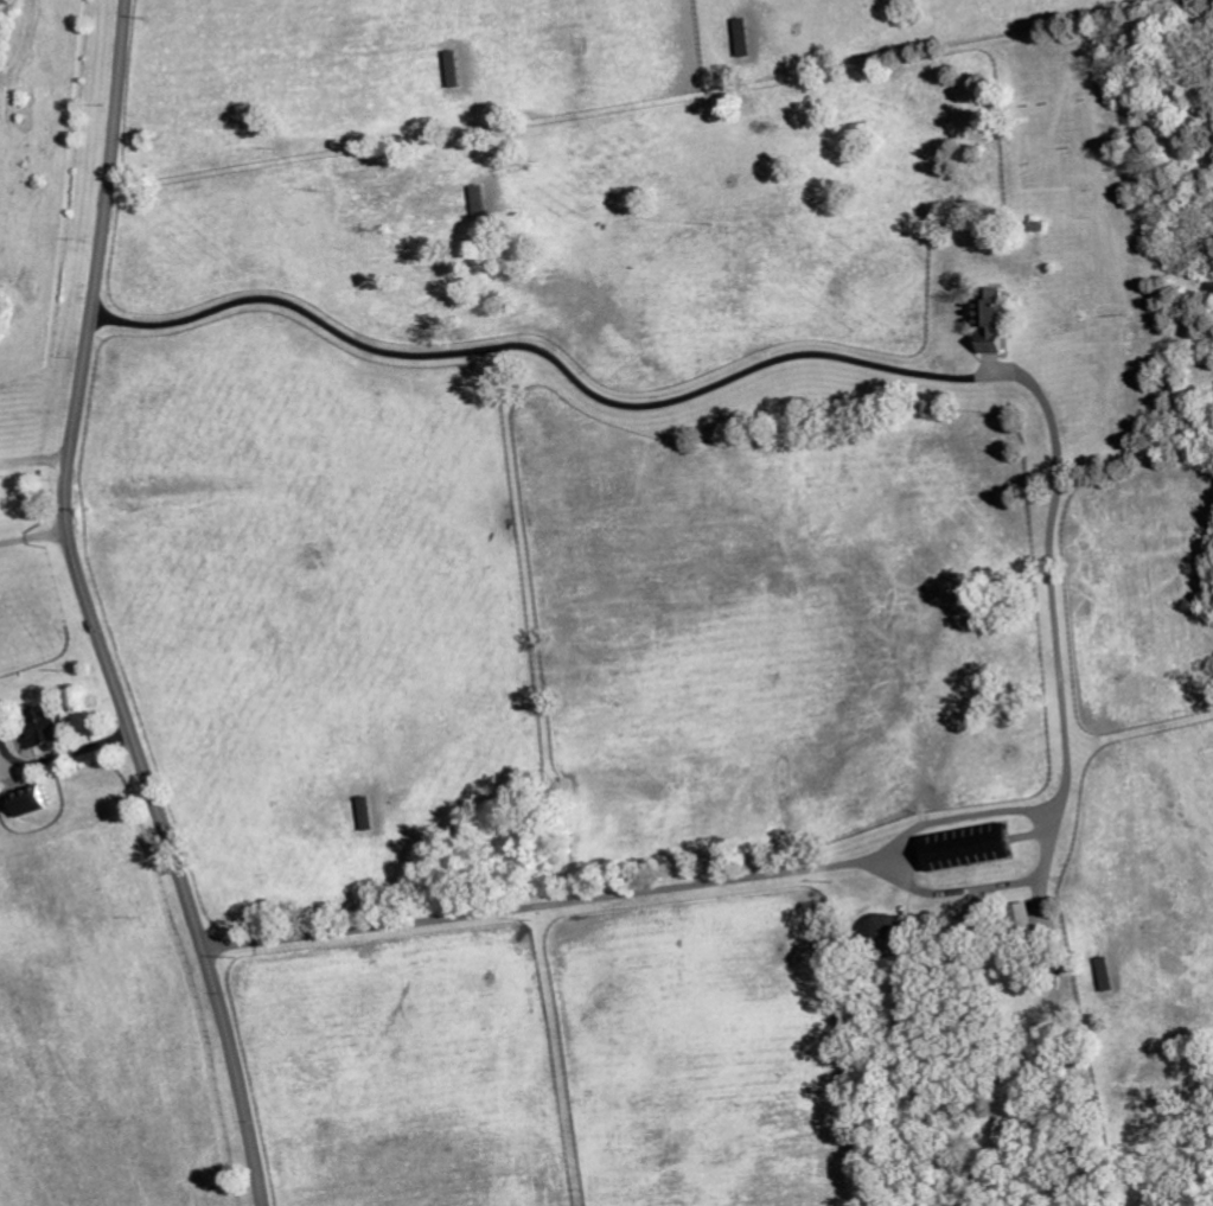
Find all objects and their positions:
building: (726, 38)
building: (467, 203)
building: (992, 323)
road: (36, 457)
road: (34, 535)
road: (1053, 538)
road: (91, 612)
building: (46, 726)
road: (60, 753)
building: (31, 802)
building: (971, 847)
road: (991, 888)
building: (1027, 915)
building: (888, 934)

